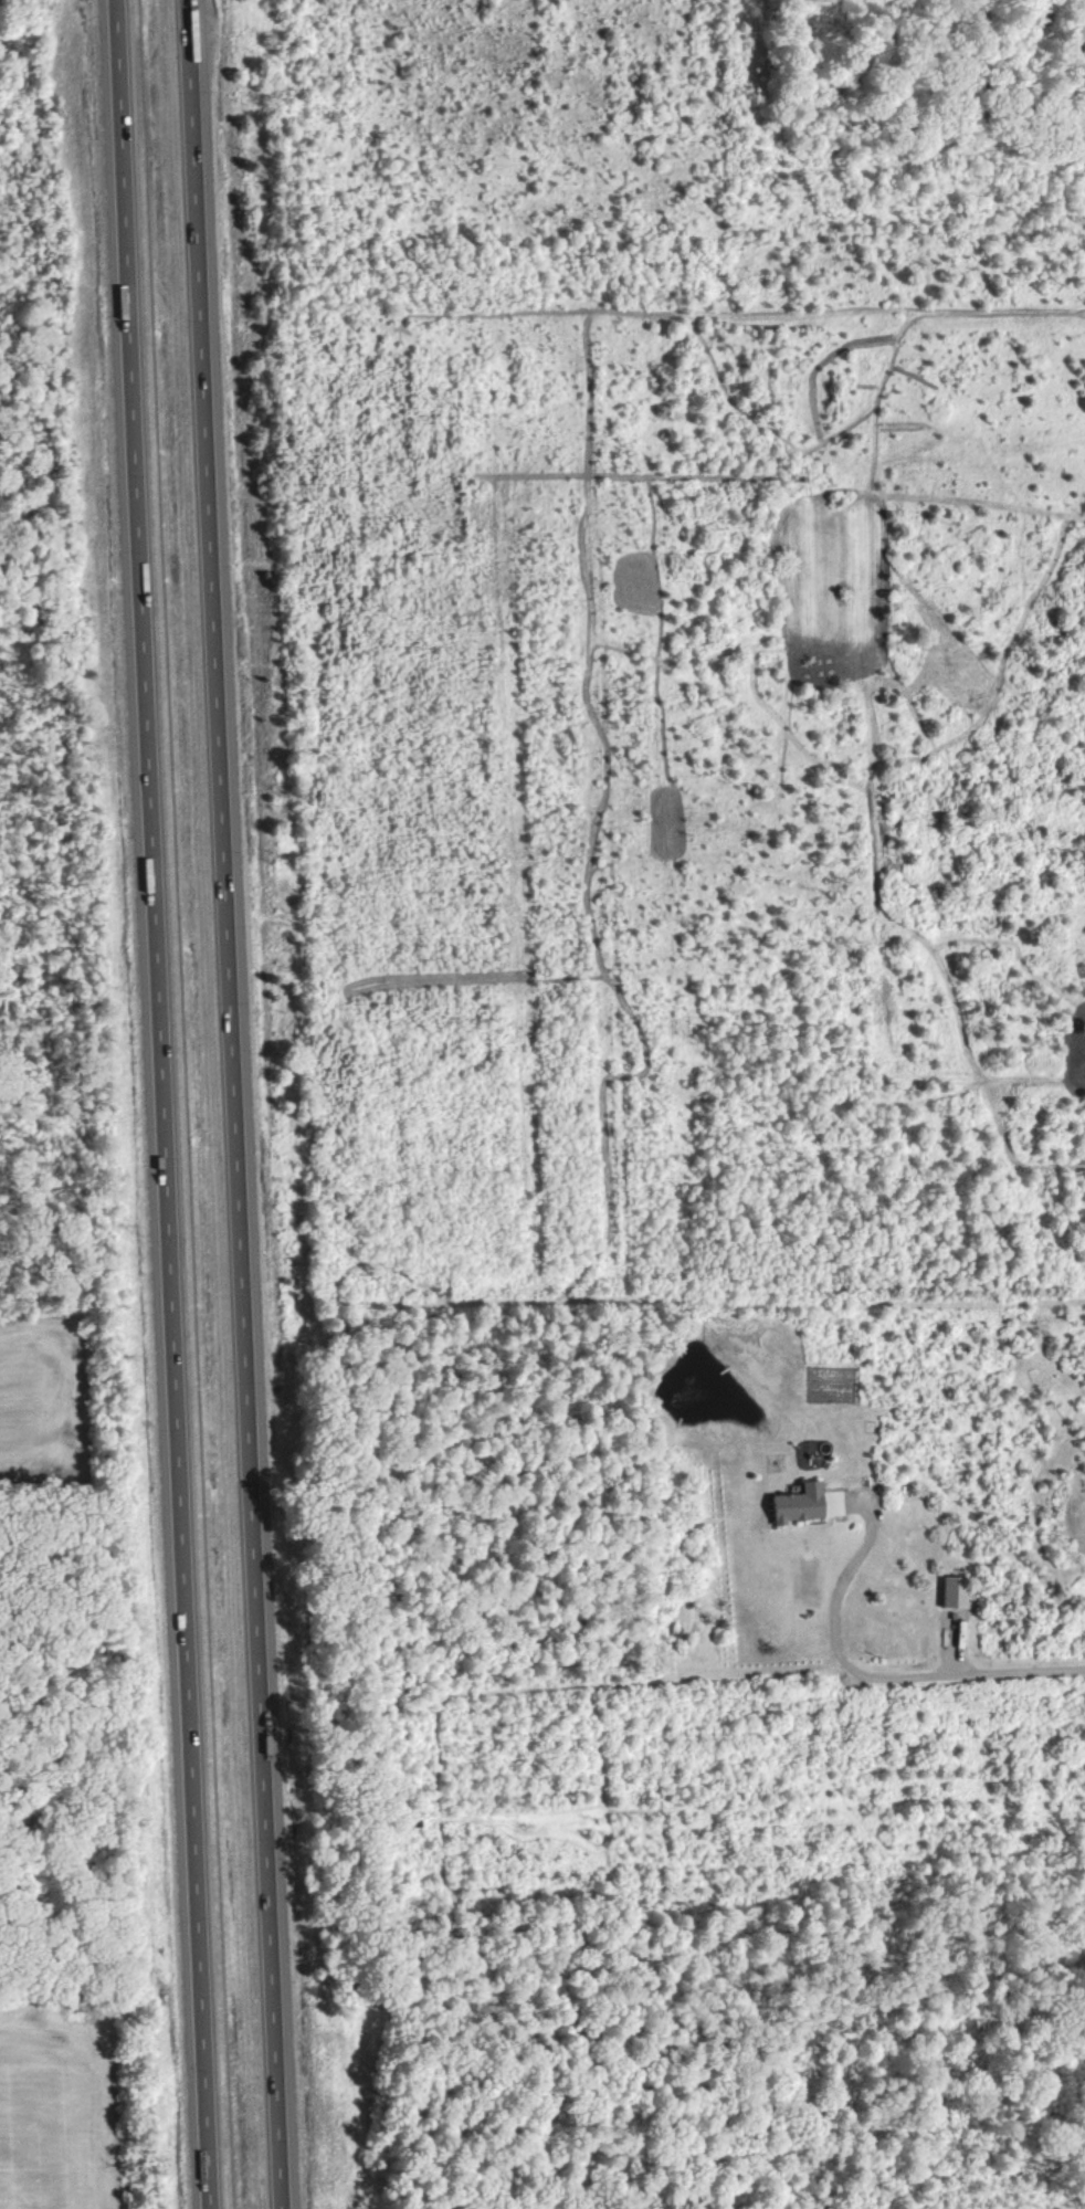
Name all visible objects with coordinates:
road: (162, 1104)
road: (232, 1104)
building: (799, 1503)
building: (954, 1591)
road: (873, 1669)

